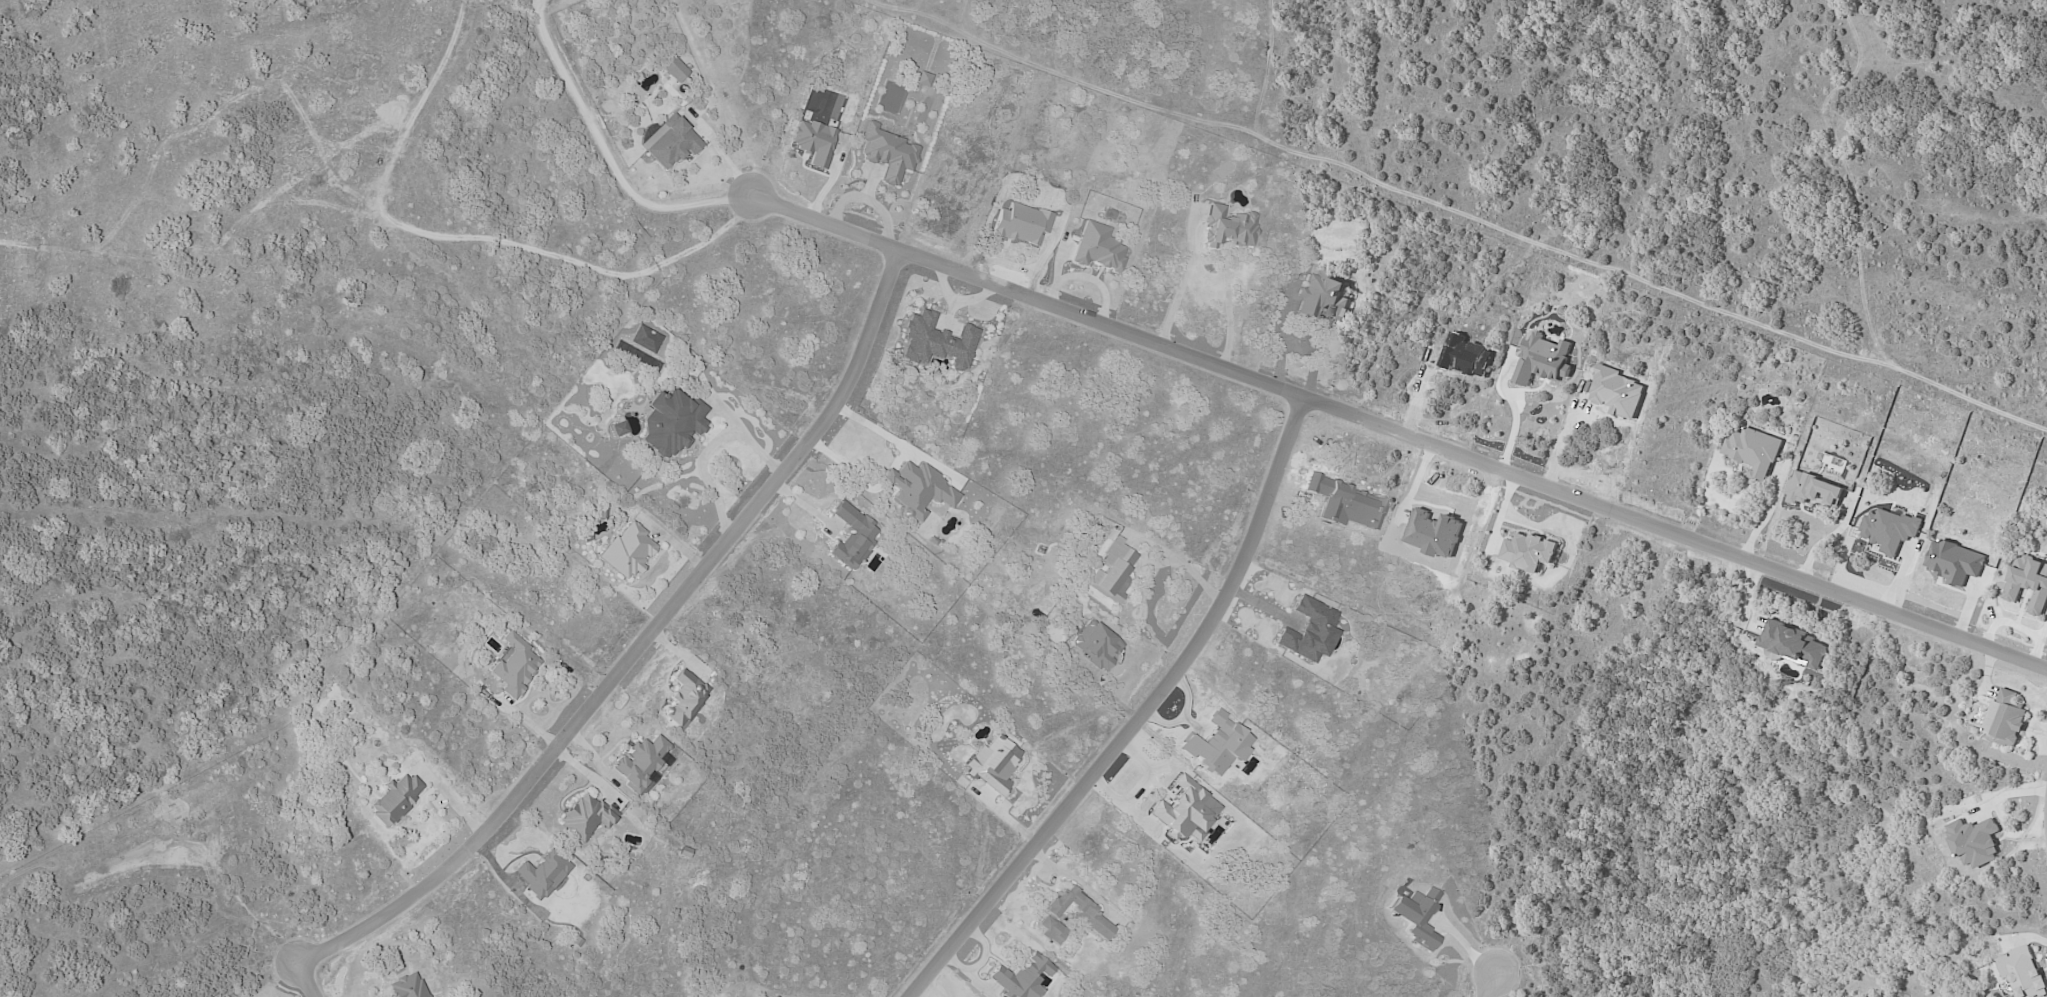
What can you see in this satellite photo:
building: (673, 69)
building: (921, 79)
building: (669, 141)
building: (812, 142)
building: (886, 153)
road: (607, 154)
building: (1227, 227)
building: (1096, 248)
road: (1215, 263)
building: (1323, 296)
building: (936, 342)
building: (1543, 359)
road: (1514, 415)
building: (670, 423)
building: (618, 428)
road: (879, 432)
road: (1398, 432)
road: (1566, 442)
road: (706, 449)
building: (1754, 451)
road: (848, 465)
road: (887, 477)
building: (917, 490)
building: (1810, 490)
road: (1765, 515)
building: (1889, 530)
building: (851, 537)
road: (1824, 539)
building: (626, 550)
building: (1528, 551)
road: (1164, 552)
building: (1954, 561)
building: (1112, 572)
building: (2029, 583)
road: (735, 610)
building: (1306, 631)
road: (640, 644)
building: (1094, 645)
building: (1794, 645)
building: (514, 666)
building: (684, 698)
road: (1137, 717)
building: (2006, 717)
building: (1214, 745)
building: (639, 763)
building: (991, 764)
road: (1145, 772)
building: (394, 799)
road: (452, 801)
road: (1123, 808)
building: (1182, 810)
building: (585, 817)
building: (1975, 842)
building: (541, 873)
road: (1076, 883)
building: (1087, 916)
building: (1414, 916)
building: (2022, 972)
building: (1020, 978)
road: (304, 979)
road: (1489, 984)
building: (406, 987)

